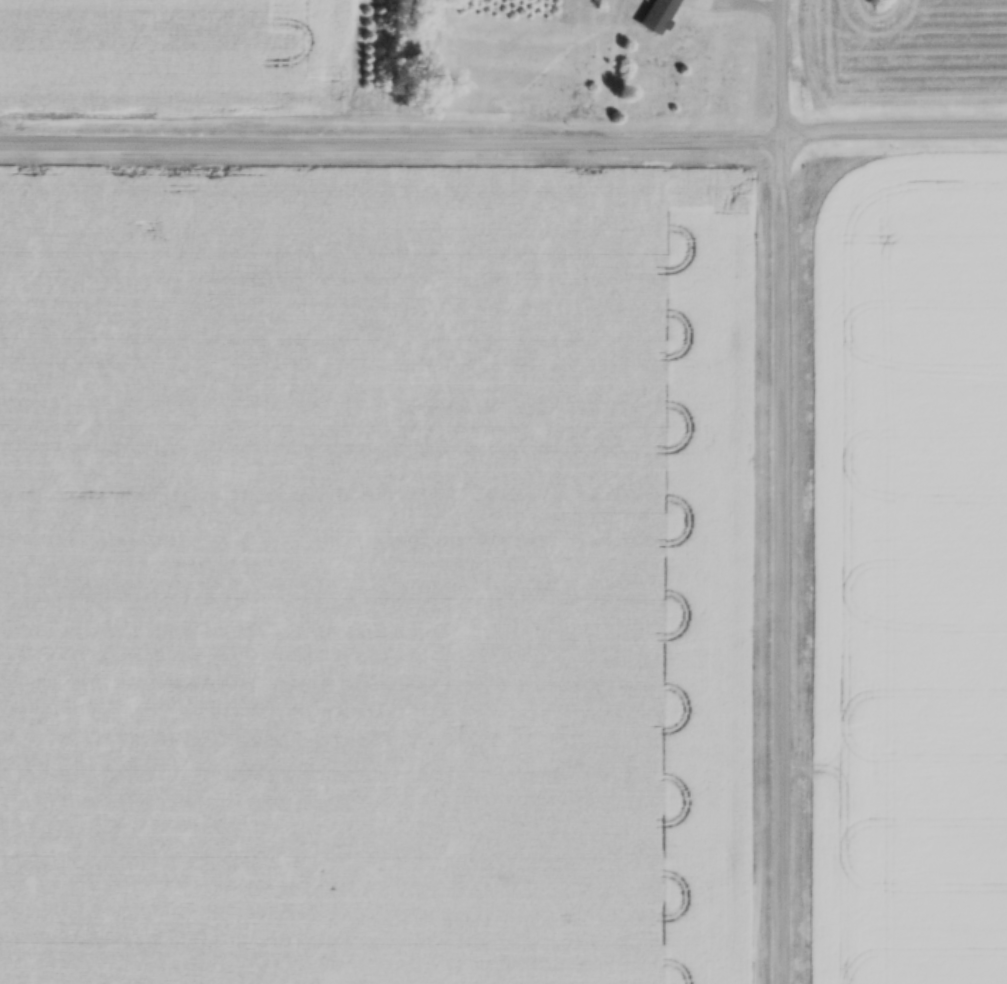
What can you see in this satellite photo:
building: (660, 15)
road: (896, 126)
road: (393, 137)
road: (783, 491)
crop: (908, 572)
crop: (369, 573)

